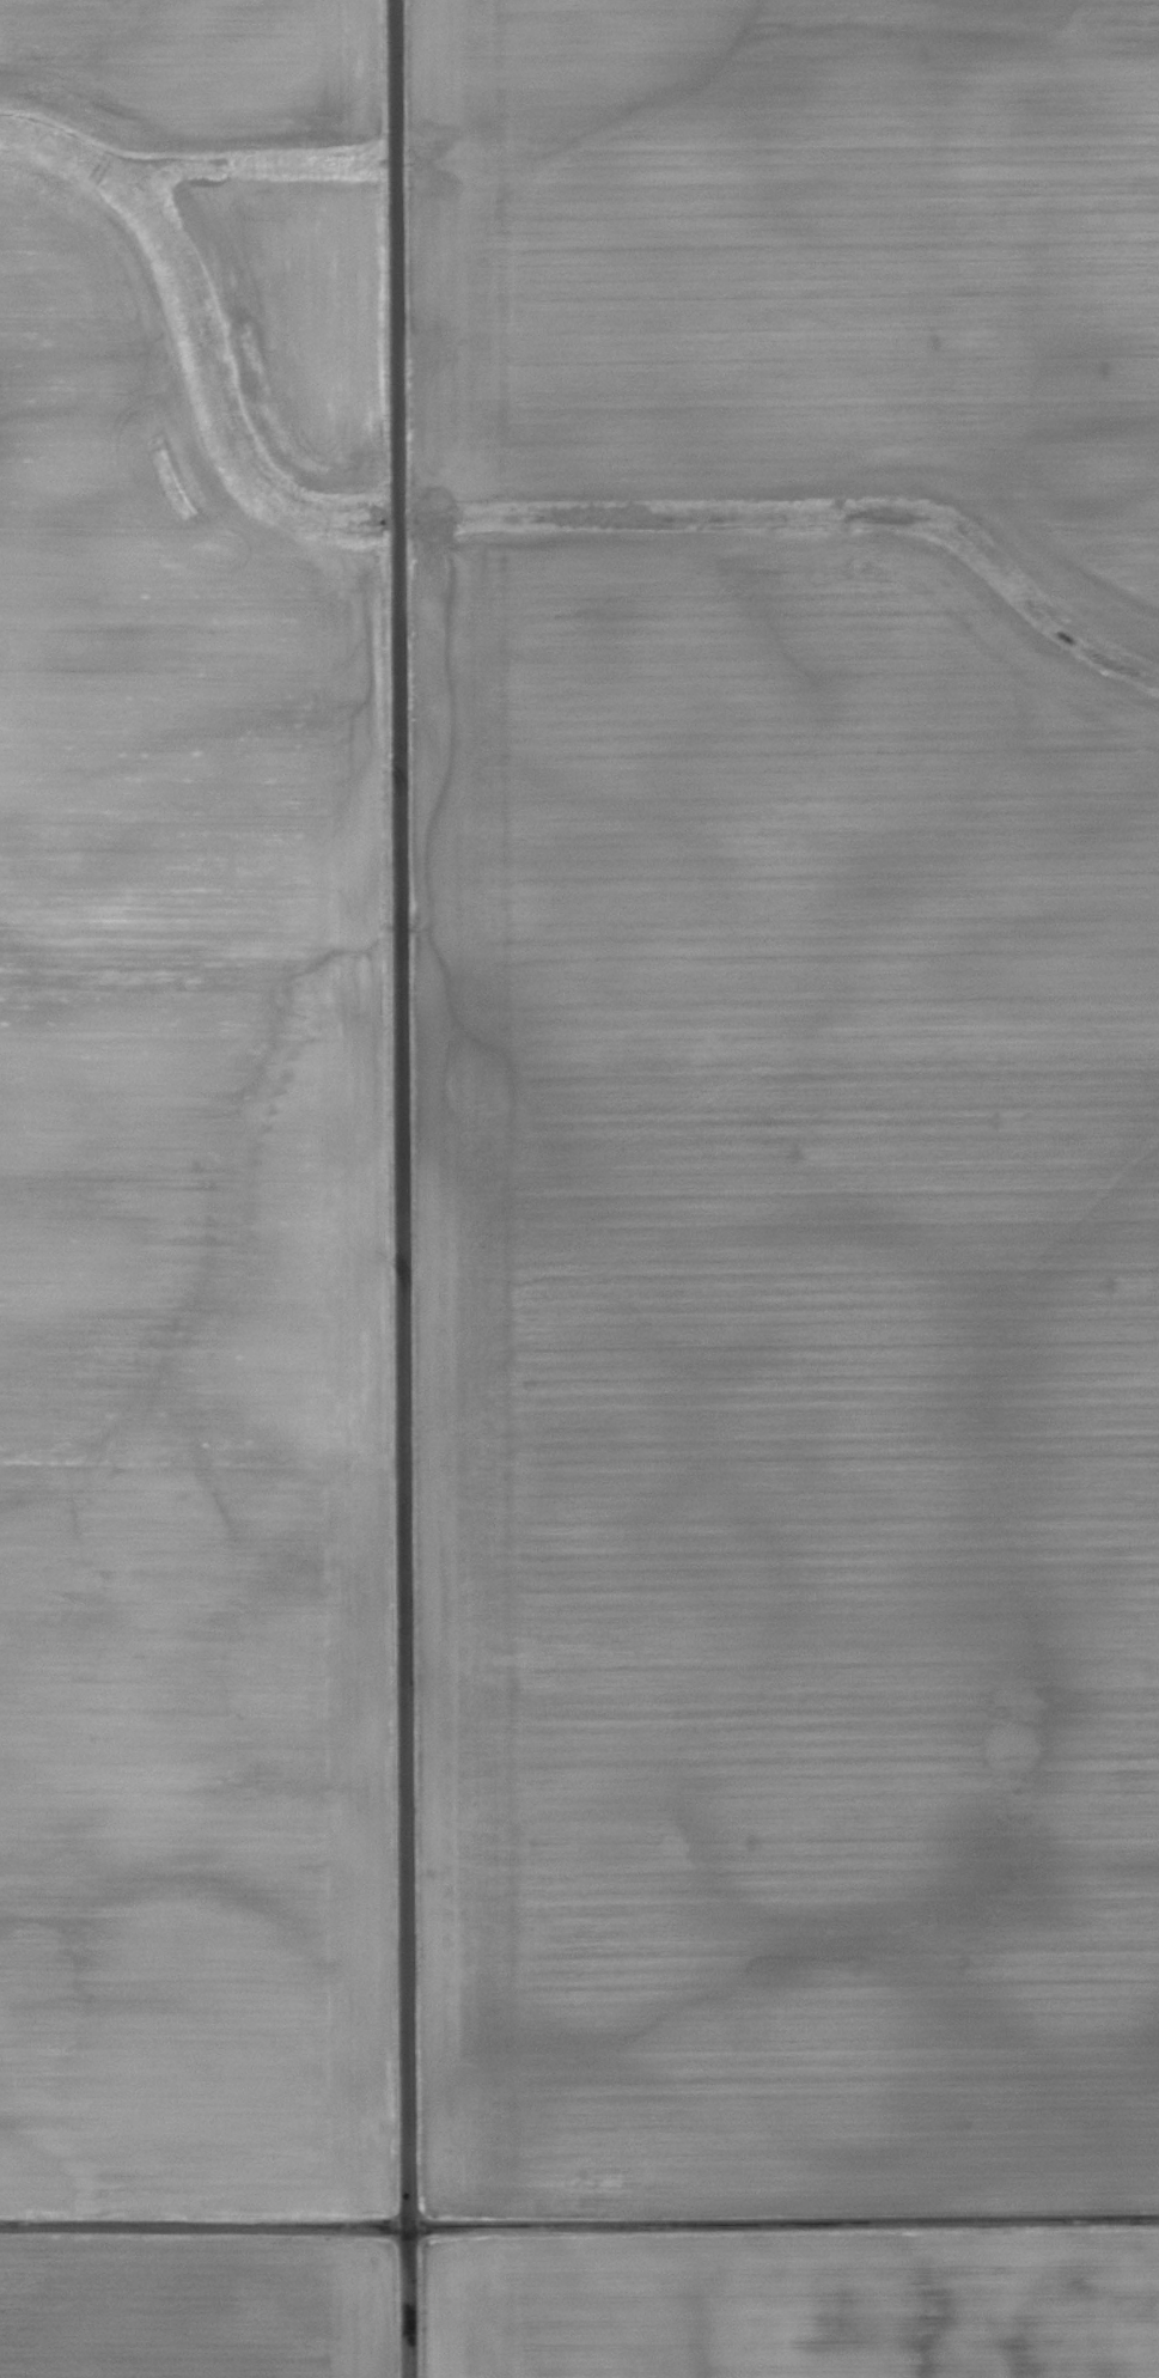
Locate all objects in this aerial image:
road: (396, 1188)
road: (781, 2220)
road: (201, 2222)

